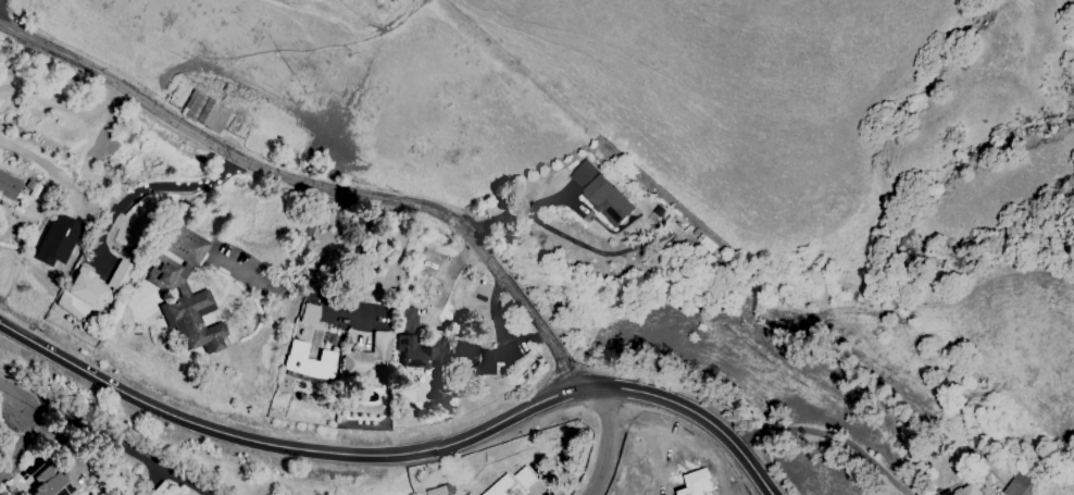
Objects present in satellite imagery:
road: (62, 106)
building: (204, 112)
road: (42, 163)
road: (314, 184)
road: (154, 186)
building: (8, 187)
building: (600, 194)
road: (503, 203)
road: (11, 226)
building: (58, 236)
road: (358, 256)
road: (292, 274)
building: (120, 275)
road: (446, 283)
building: (86, 289)
building: (185, 293)
building: (308, 314)
building: (404, 320)
building: (419, 352)
building: (485, 356)
building: (308, 361)
building: (367, 363)
road: (11, 396)
road: (690, 409)
road: (826, 434)
road: (108, 440)
road: (605, 443)
road: (278, 448)
road: (15, 449)
building: (525, 478)
building: (53, 482)
building: (1019, 485)
building: (501, 486)
building: (436, 491)
building: (965, 491)

